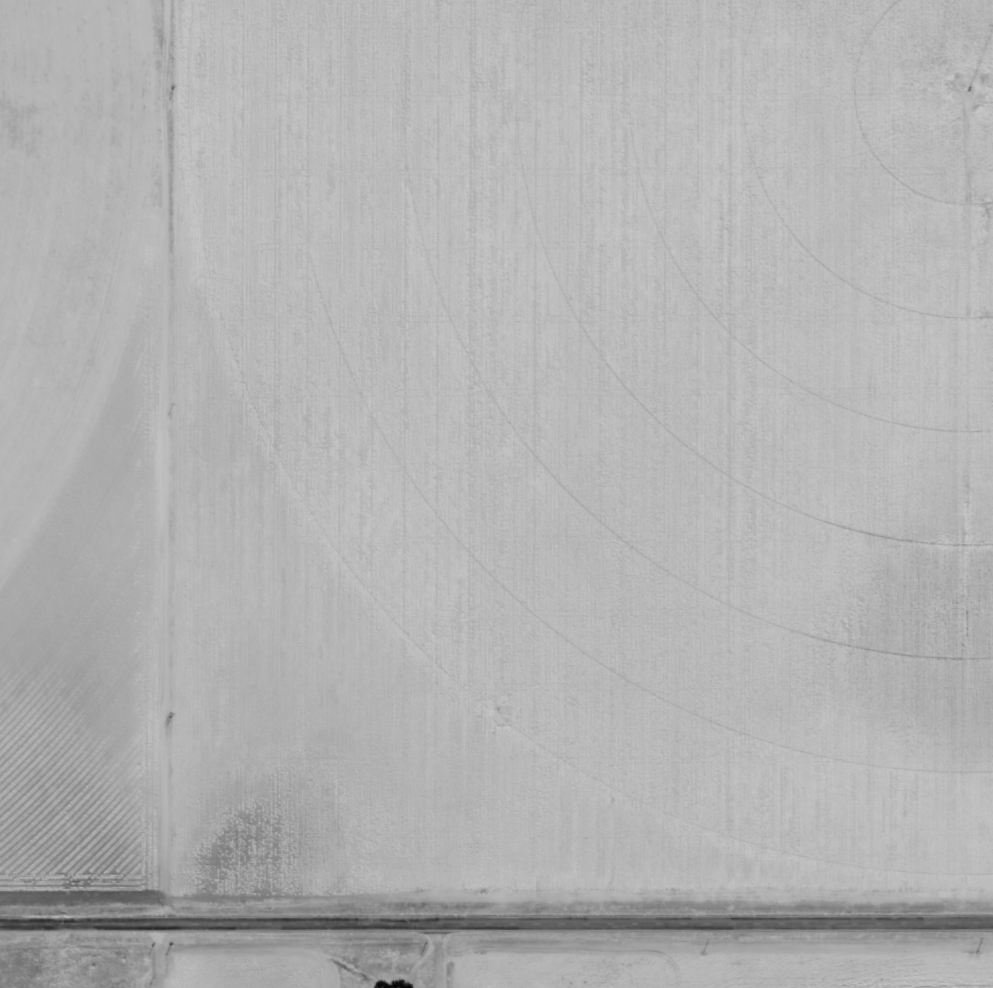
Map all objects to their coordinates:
road: (496, 931)
road: (436, 959)

